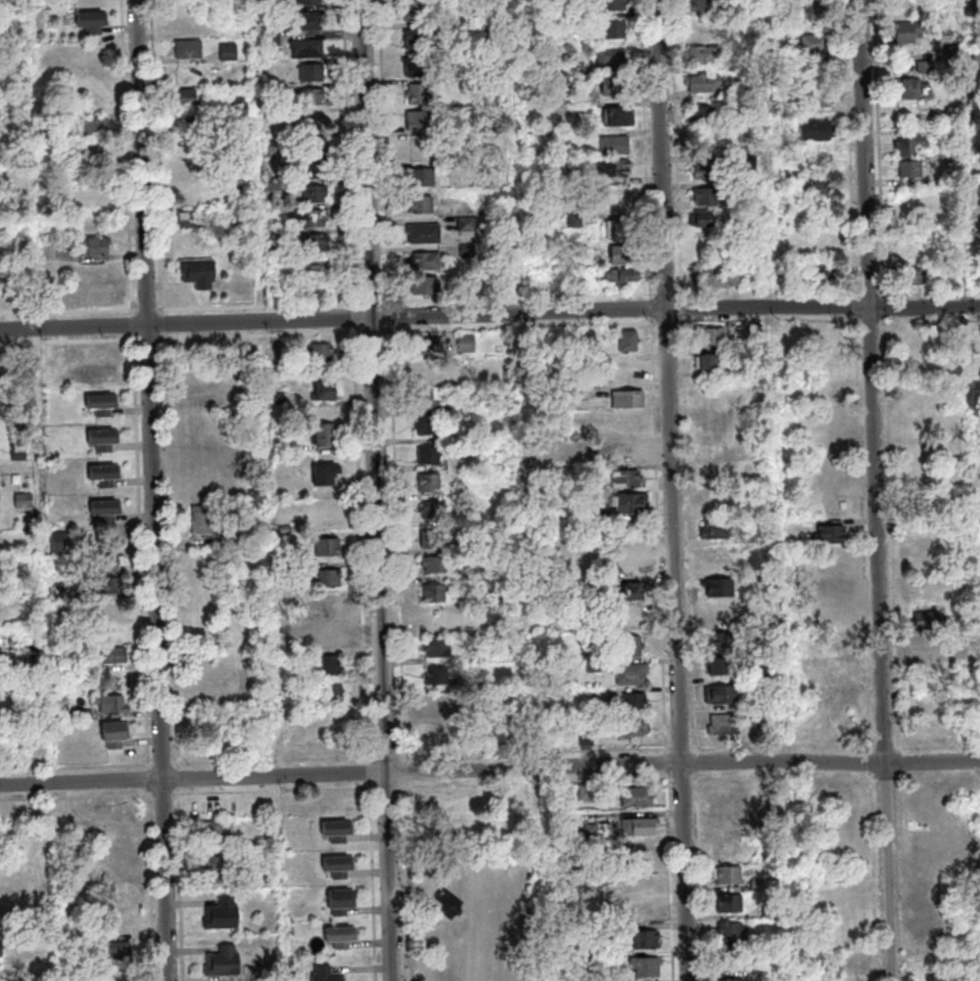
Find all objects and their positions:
building: (908, 1)
building: (311, 2)
building: (615, 5)
building: (275, 6)
building: (698, 6)
building: (974, 8)
building: (414, 11)
building: (816, 15)
building: (308, 21)
building: (93, 23)
building: (617, 30)
building: (793, 34)
building: (909, 34)
building: (487, 35)
building: (274, 36)
building: (18, 37)
building: (957, 37)
building: (418, 40)
building: (817, 46)
building: (309, 50)
building: (191, 51)
building: (231, 52)
building: (953, 54)
building: (977, 55)
building: (498, 56)
building: (705, 56)
building: (612, 59)
building: (418, 67)
building: (927, 67)
building: (578, 70)
building: (314, 72)
building: (822, 74)
road: (851, 74)
building: (956, 78)
building: (705, 84)
building: (618, 87)
building: (284, 90)
building: (910, 90)
building: (421, 95)
building: (314, 96)
building: (495, 98)
building: (819, 99)
building: (189, 100)
building: (241, 103)
building: (746, 105)
building: (778, 107)
building: (704, 116)
building: (620, 119)
building: (314, 122)
building: (423, 122)
building: (192, 124)
building: (95, 126)
building: (50, 133)
building: (817, 133)
building: (954, 134)
building: (315, 145)
building: (913, 145)
building: (617, 147)
road: (649, 149)
road: (679, 149)
road: (859, 149)
road: (882, 150)
building: (278, 151)
road: (352, 153)
road: (387, 153)
road: (129, 158)
road: (159, 158)
building: (751, 162)
building: (956, 162)
building: (819, 163)
building: (276, 167)
building: (315, 170)
building: (616, 170)
building: (913, 170)
building: (708, 171)
building: (573, 179)
building: (425, 180)
building: (22, 181)
building: (274, 189)
building: (827, 190)
building: (747, 192)
building: (318, 194)
building: (502, 195)
building: (708, 197)
building: (95, 200)
building: (50, 206)
building: (423, 207)
building: (311, 219)
building: (194, 221)
building: (706, 221)
building: (576, 222)
building: (468, 225)
building: (622, 232)
building: (426, 235)
building: (279, 238)
building: (318, 240)
building: (960, 241)
building: (580, 248)
building: (93, 249)
building: (470, 252)
building: (913, 254)
building: (624, 257)
building: (428, 263)
building: (318, 267)
building: (825, 274)
building: (200, 275)
building: (919, 277)
building: (624, 278)
building: (719, 279)
building: (582, 286)
building: (427, 287)
building: (507, 288)
building: (320, 289)
road: (931, 292)
building: (92, 293)
road: (669, 293)
road: (681, 293)
road: (656, 294)
road: (878, 294)
road: (582, 296)
road: (450, 300)
road: (374, 302)
road: (261, 306)
road: (654, 308)
road: (684, 308)
road: (888, 308)
road: (150, 310)
road: (70, 311)
road: (859, 312)
road: (489, 314)
road: (393, 316)
road: (357, 317)
road: (772, 319)
road: (931, 321)
road: (670, 322)
road: (874, 322)
road: (165, 324)
road: (136, 325)
road: (523, 327)
building: (756, 331)
road: (373, 332)
road: (260, 335)
building: (712, 337)
road: (151, 339)
building: (593, 339)
road: (107, 340)
building: (631, 342)
building: (469, 344)
building: (428, 348)
building: (279, 351)
building: (322, 353)
building: (709, 363)
building: (754, 368)
building: (97, 374)
building: (428, 374)
building: (0, 376)
building: (461, 382)
road: (860, 388)
building: (584, 393)
building: (326, 394)
building: (204, 395)
building: (280, 399)
building: (428, 400)
building: (631, 400)
building: (104, 406)
building: (431, 425)
building: (326, 435)
building: (106, 440)
building: (21, 454)
building: (630, 454)
building: (431, 455)
building: (328, 475)
building: (106, 476)
building: (627, 481)
building: (432, 483)
road: (157, 490)
road: (380, 490)
road: (528, 490)
road: (675, 490)
road: (879, 490)
building: (25, 500)
building: (633, 505)
building: (435, 509)
building: (108, 511)
building: (326, 513)
building: (591, 515)
building: (204, 522)
building: (717, 531)
road: (661, 535)
road: (692, 535)
road: (894, 536)
building: (834, 537)
building: (232, 540)
building: (433, 540)
building: (61, 542)
road: (400, 544)
road: (364, 546)
building: (330, 547)
building: (459, 549)
road: (174, 551)
building: (717, 555)
road: (143, 560)
building: (626, 563)
building: (111, 564)
building: (439, 565)
building: (298, 573)
building: (484, 575)
building: (330, 578)
building: (594, 583)
building: (108, 587)
building: (722, 589)
building: (436, 592)
building: (634, 593)
building: (332, 607)
road: (868, 607)
building: (723, 613)
building: (434, 619)
building: (930, 623)
building: (331, 635)
building: (972, 639)
building: (721, 642)
building: (833, 645)
building: (633, 646)
building: (440, 648)
building: (930, 648)
building: (113, 656)
building: (333, 665)
building: (74, 666)
building: (594, 668)
building: (719, 669)
building: (438, 675)
building: (633, 675)
building: (765, 675)
building: (480, 687)
building: (293, 688)
building: (336, 693)
building: (723, 696)
building: (636, 702)
building: (437, 705)
building: (114, 706)
building: (88, 714)
building: (472, 714)
building: (726, 726)
building: (635, 728)
building: (117, 736)
building: (588, 740)
road: (786, 743)
road: (938, 748)
road: (887, 750)
road: (546, 751)
road: (389, 757)
road: (375, 758)
road: (873, 759)
road: (669, 762)
road: (700, 762)
road: (902, 763)
road: (178, 764)
road: (166, 765)
road: (79, 767)
road: (490, 769)
road: (408, 771)
road: (372, 773)
road: (688, 778)
road: (182, 779)
road: (902, 779)
road: (538, 781)
road: (390, 787)
road: (277, 790)
building: (590, 793)
road: (167, 794)
road: (79, 797)
building: (639, 799)
building: (726, 817)
building: (646, 828)
building: (617, 829)
building: (340, 831)
building: (591, 831)
building: (451, 834)
building: (214, 835)
building: (649, 854)
building: (341, 867)
building: (215, 870)
road: (701, 875)
road: (673, 876)
building: (726, 878)
building: (257, 880)
road: (412, 880)
road: (376, 881)
road: (154, 884)
road: (184, 884)
building: (647, 884)
road: (905, 884)
building: (757, 887)
road: (716, 889)
building: (447, 901)
building: (344, 902)
building: (729, 906)
road: (874, 912)
park: (475, 914)
building: (771, 914)
building: (224, 916)
road: (723, 917)
building: (613, 930)
building: (730, 935)
building: (343, 937)
building: (647, 940)
road: (717, 947)
building: (0, 950)
building: (118, 951)
building: (616, 958)
building: (225, 963)
building: (645, 963)
building: (730, 964)
building: (122, 974)
road: (716, 974)
building: (329, 975)
building: (730, 980)

